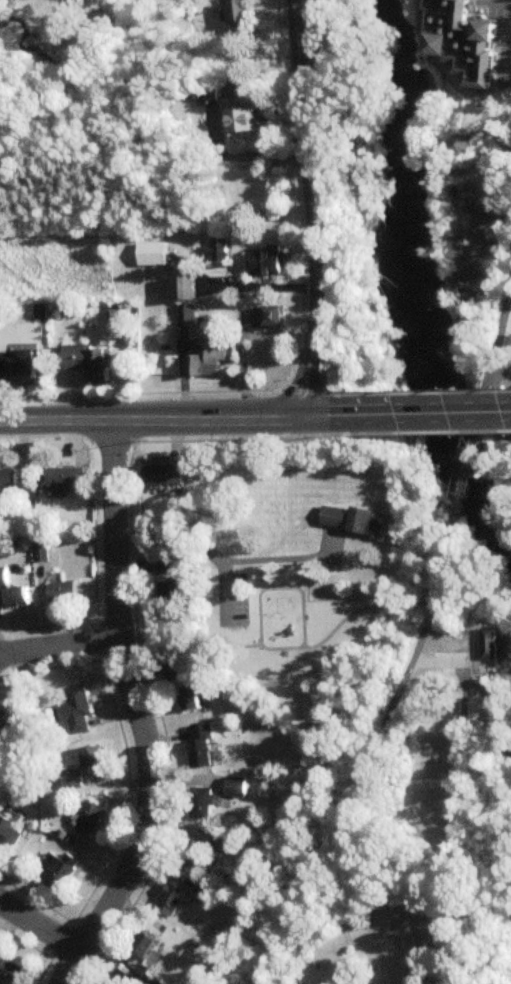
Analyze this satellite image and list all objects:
building: (236, 10)
building: (489, 34)
parking lot: (314, 36)
road: (322, 36)
building: (464, 43)
road: (507, 43)
building: (445, 48)
road: (431, 52)
road: (374, 81)
park: (445, 102)
building: (252, 119)
road: (486, 120)
road: (478, 133)
building: (461, 147)
road: (243, 154)
park: (345, 206)
road: (312, 208)
park: (467, 222)
building: (156, 252)
building: (217, 253)
building: (275, 262)
river: (418, 277)
road: (261, 285)
building: (184, 286)
building: (189, 310)
building: (32, 314)
building: (276, 314)
road: (243, 337)
road: (502, 337)
road: (305, 338)
building: (210, 353)
building: (88, 364)
building: (26, 370)
road: (182, 376)
road: (504, 376)
park: (489, 378)
road: (312, 392)
road: (426, 393)
road: (504, 405)
road: (430, 412)
road: (485, 413)
road: (175, 418)
road: (426, 433)
road: (236, 437)
building: (163, 476)
building: (8, 479)
building: (62, 480)
road: (465, 484)
road: (128, 494)
building: (335, 518)
building: (369, 523)
road: (198, 551)
road: (275, 559)
road: (130, 563)
road: (504, 567)
building: (167, 569)
building: (2, 578)
building: (61, 594)
building: (16, 597)
building: (169, 600)
road: (302, 621)
park: (293, 637)
road: (56, 639)
building: (488, 643)
road: (197, 653)
road: (441, 663)
building: (175, 674)
building: (190, 700)
building: (75, 712)
road: (136, 712)
road: (490, 717)
building: (13, 724)
building: (201, 747)
building: (92, 758)
road: (364, 764)
road: (458, 777)
building: (72, 780)
road: (169, 786)
building: (236, 787)
road: (126, 793)
building: (0, 795)
building: (201, 804)
building: (90, 818)
building: (9, 836)
building: (222, 844)
building: (190, 855)
building: (59, 871)
building: (205, 896)
road: (33, 899)
building: (170, 901)
road: (39, 927)
road: (24, 944)
building: (144, 946)
road: (47, 962)
building: (9, 972)
building: (123, 979)
building: (153, 980)

